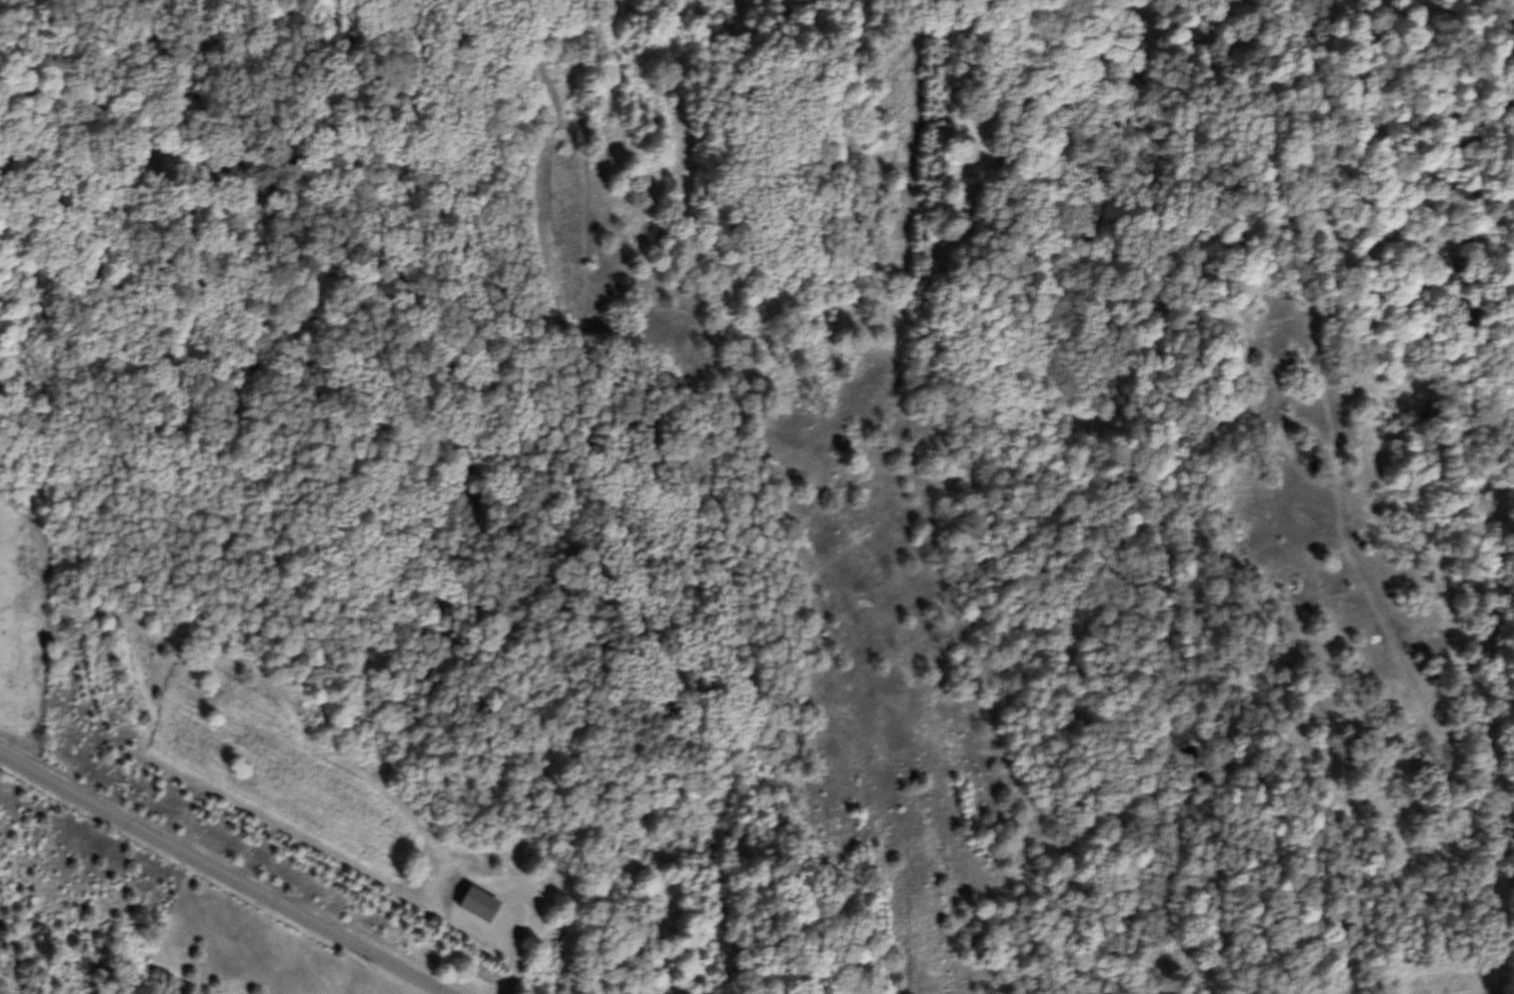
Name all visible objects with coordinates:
road: (180, 887)

